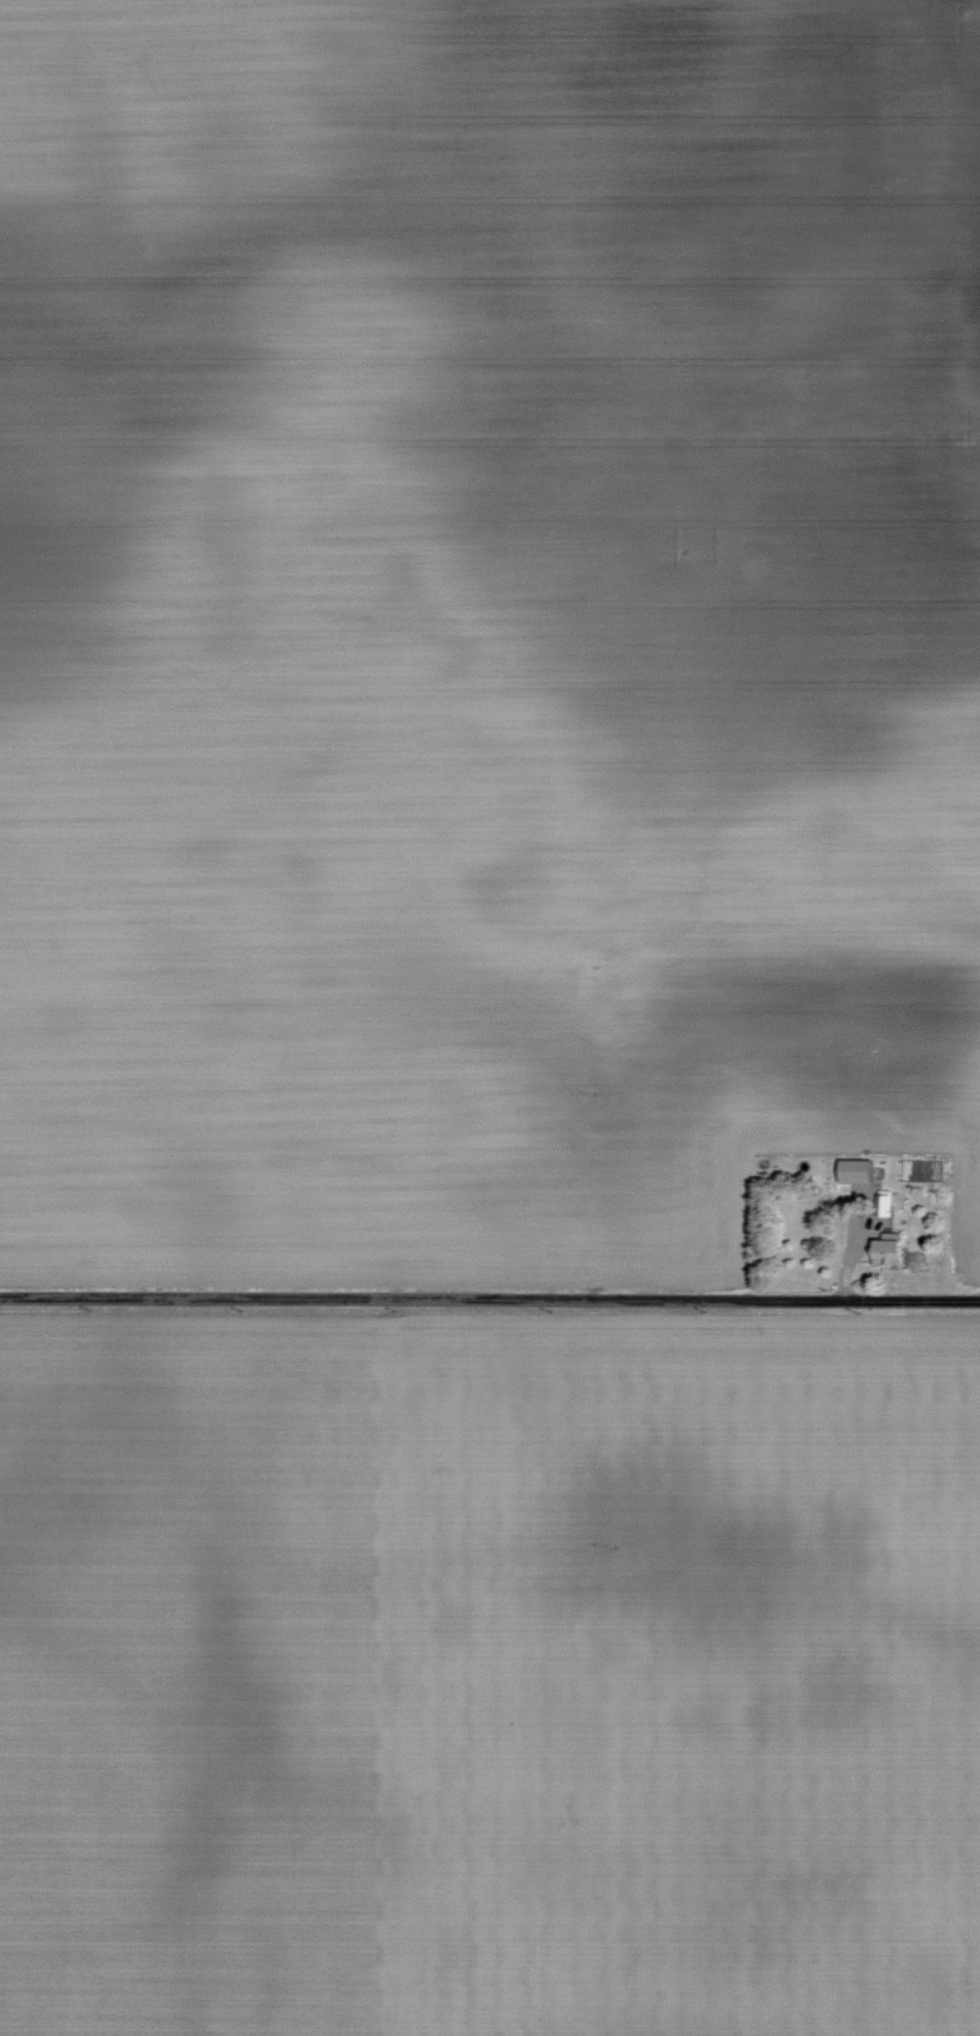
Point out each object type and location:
road: (489, 1299)

